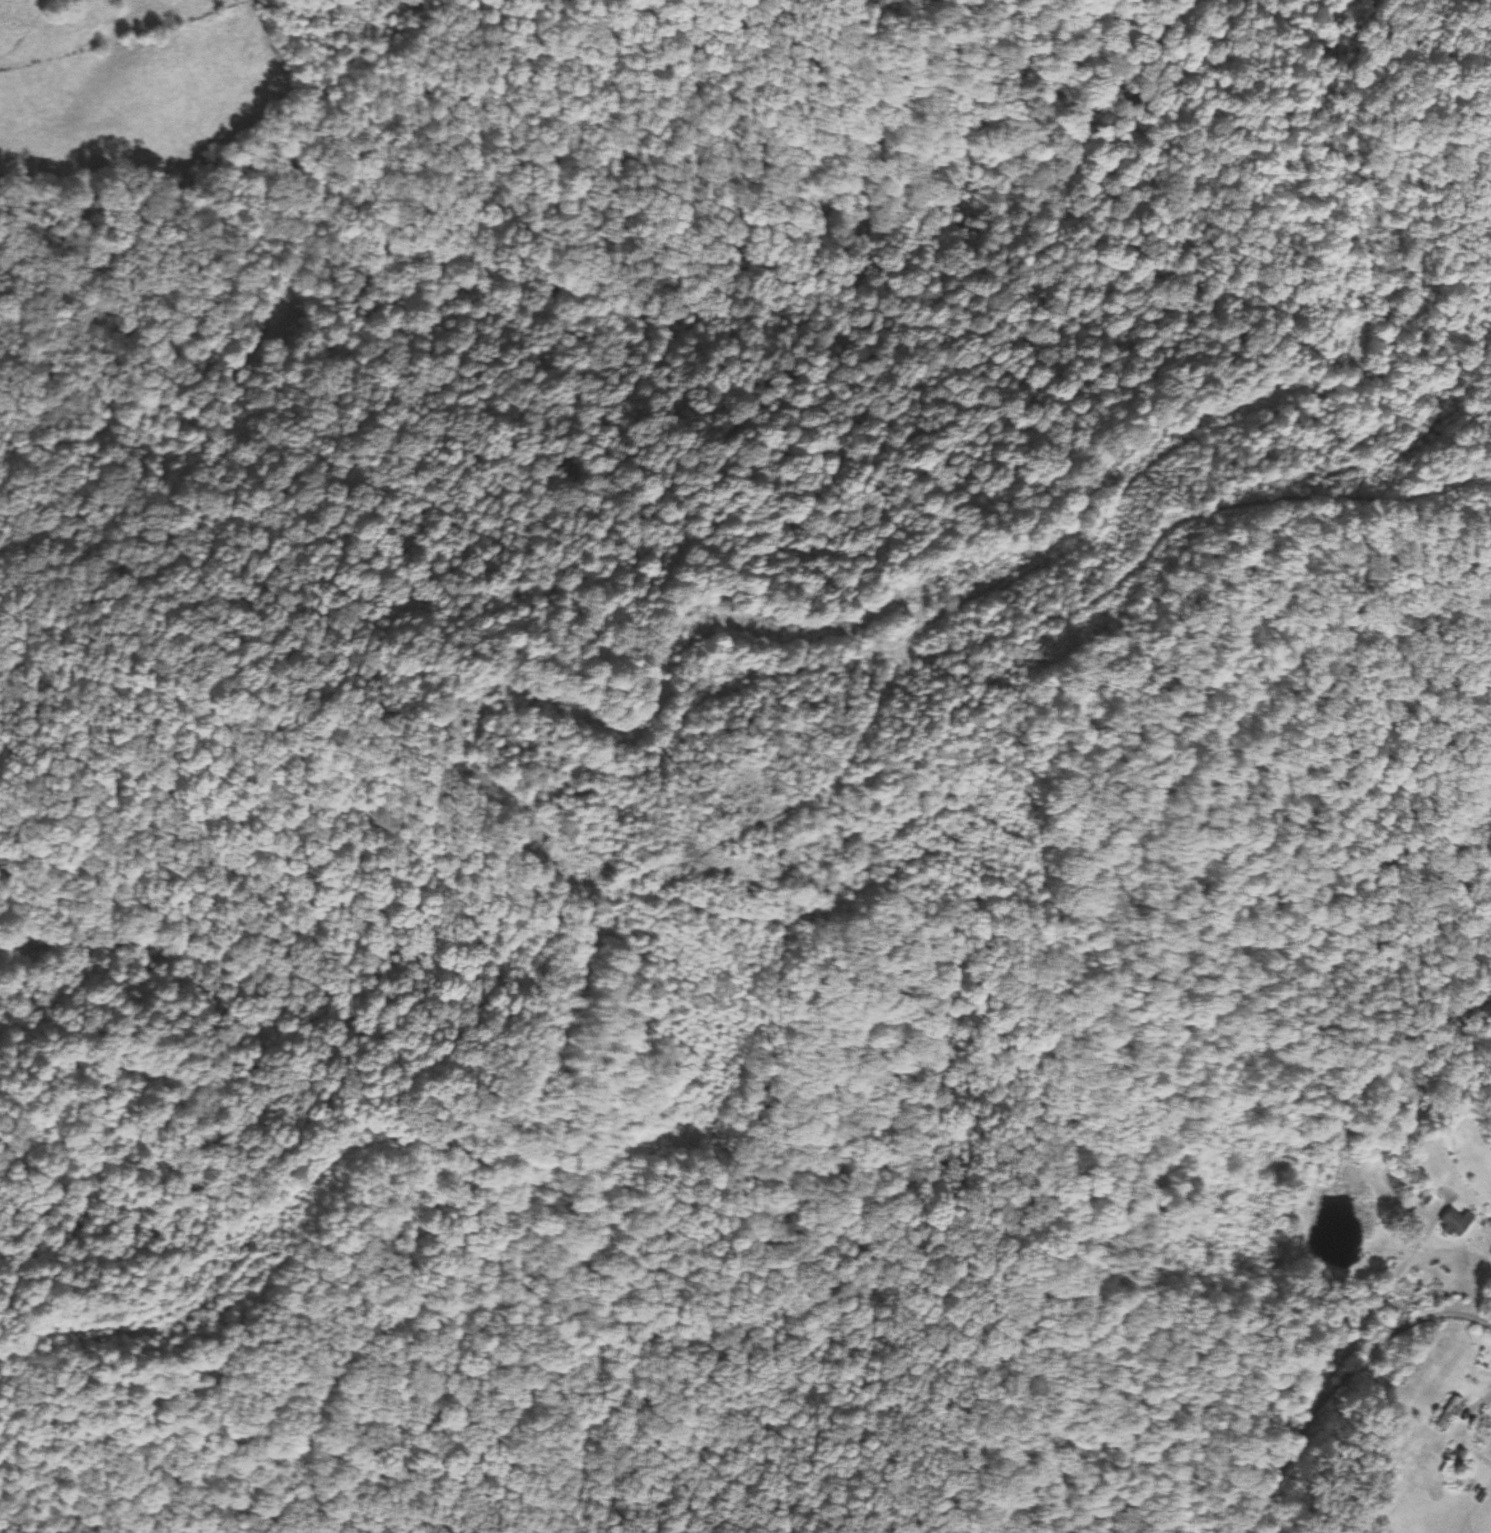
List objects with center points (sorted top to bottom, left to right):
building: (1458, 1223)
road: (1330, 1381)
building: (1448, 1414)

